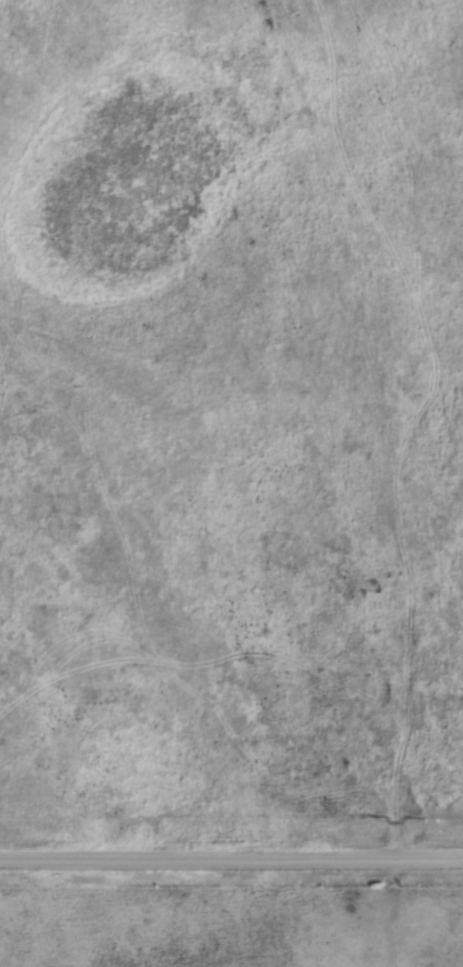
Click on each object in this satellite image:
road: (231, 860)

